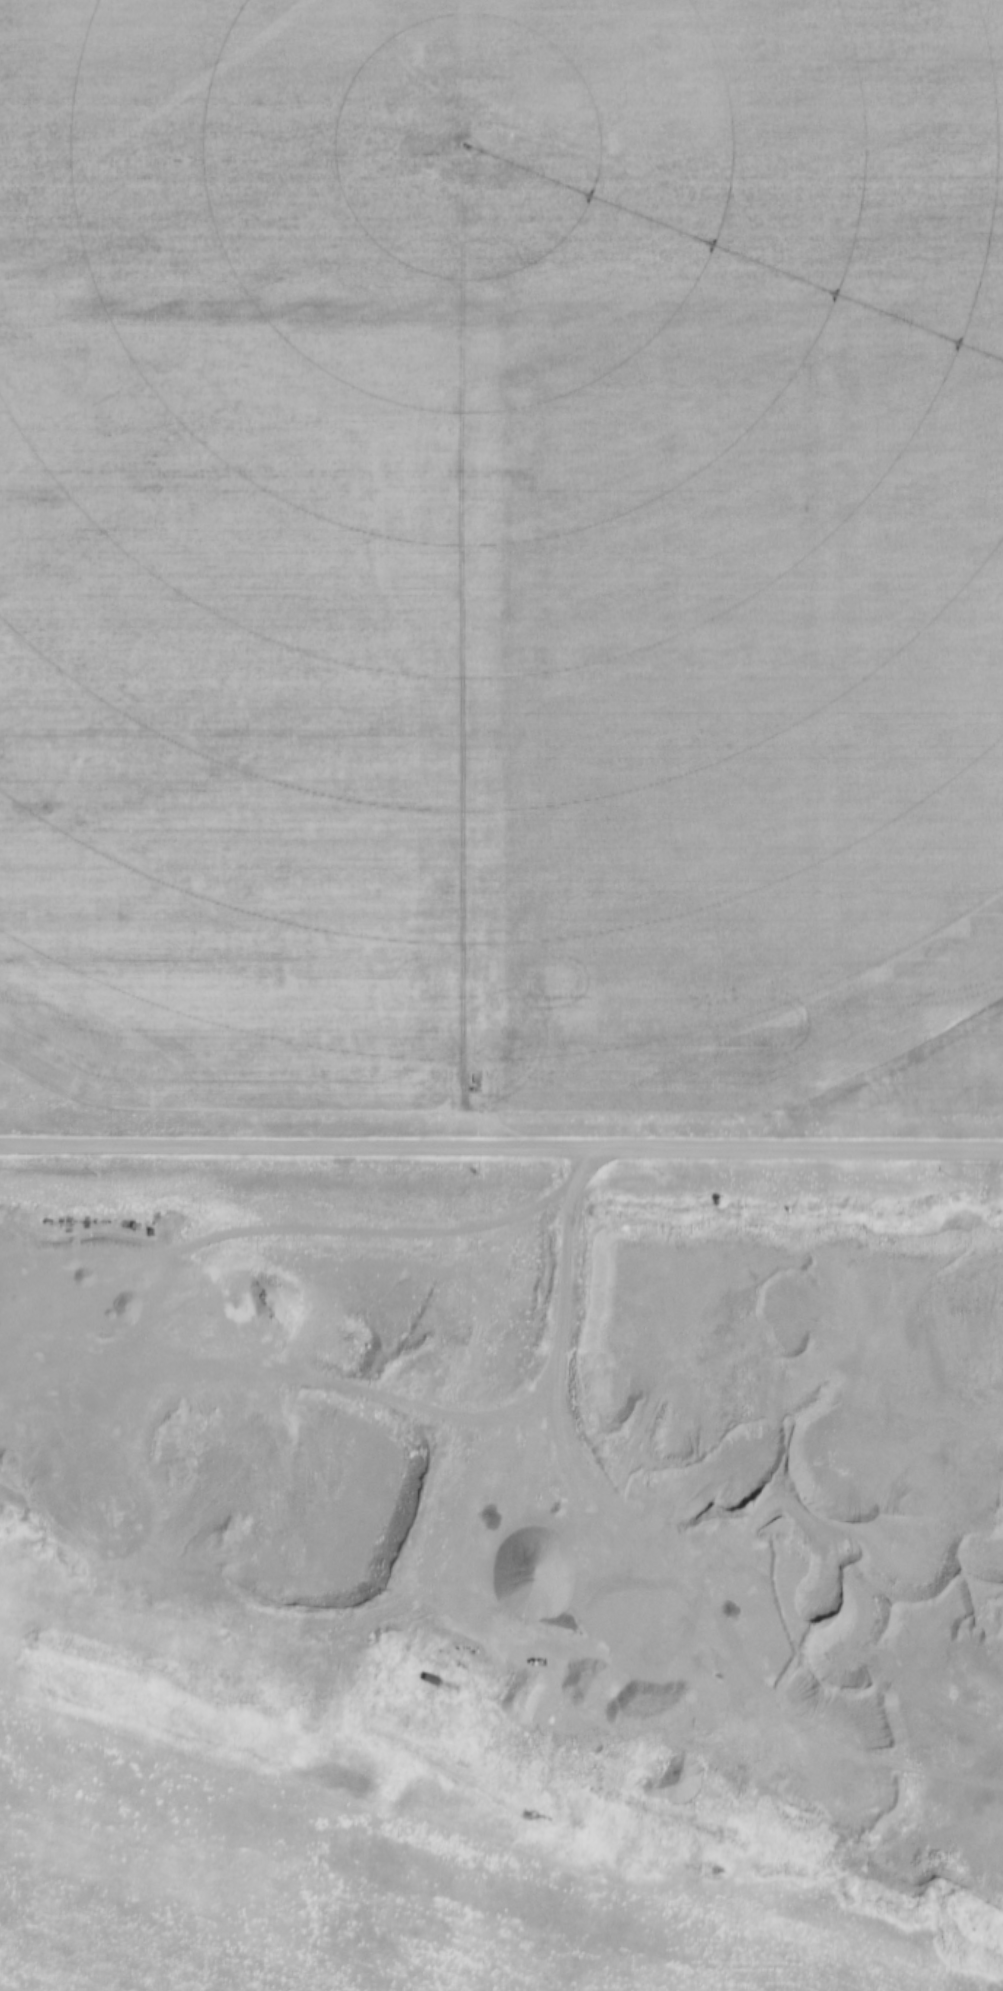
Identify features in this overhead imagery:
road: (501, 1148)
quarry: (541, 1501)

